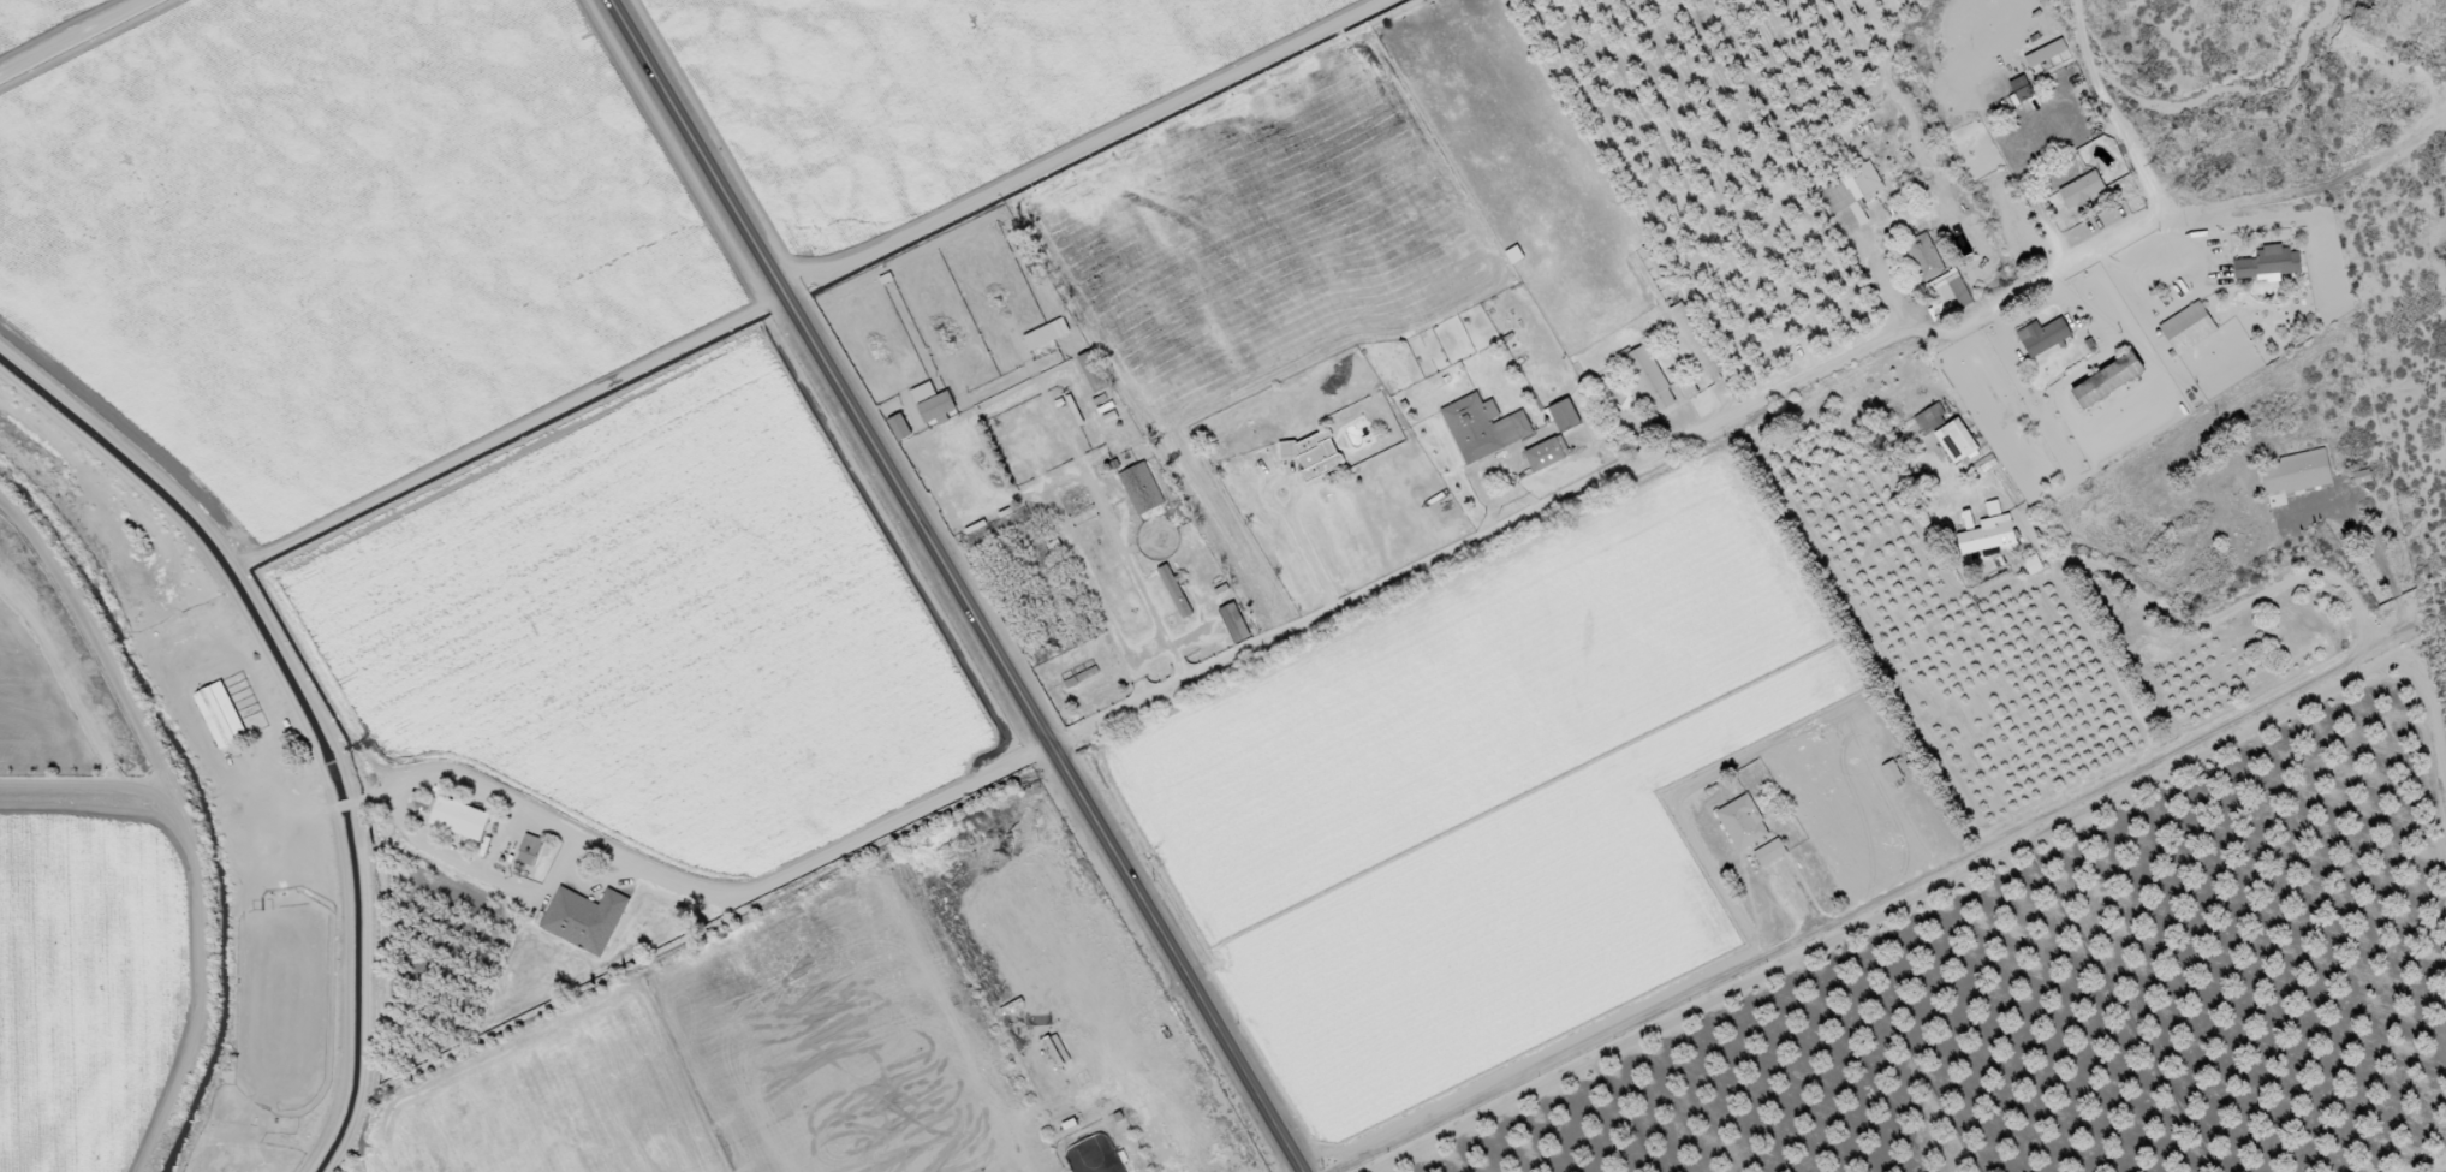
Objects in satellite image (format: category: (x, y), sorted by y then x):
building: (2048, 54)
road: (2113, 106)
road: (1084, 143)
building: (1853, 190)
building: (2084, 190)
building: (2272, 263)
road: (1875, 268)
building: (2189, 329)
building: (1048, 335)
building: (2045, 337)
building: (2109, 380)
building: (1652, 381)
road: (1755, 401)
building: (935, 404)
building: (1564, 415)
building: (901, 428)
building: (1484, 429)
building: (1959, 440)
building: (1316, 447)
building: (1547, 456)
road: (557, 475)
building: (2296, 476)
building: (1142, 489)
road: (1274, 501)
road: (1313, 558)
building: (2034, 566)
road: (958, 585)
building: (1237, 625)
building: (1083, 679)
building: (216, 713)
road: (666, 773)
building: (1903, 773)
road: (2077, 797)
building: (456, 815)
building: (1744, 823)
building: (524, 849)
building: (1770, 855)
building: (571, 916)
road: (2327, 1107)

